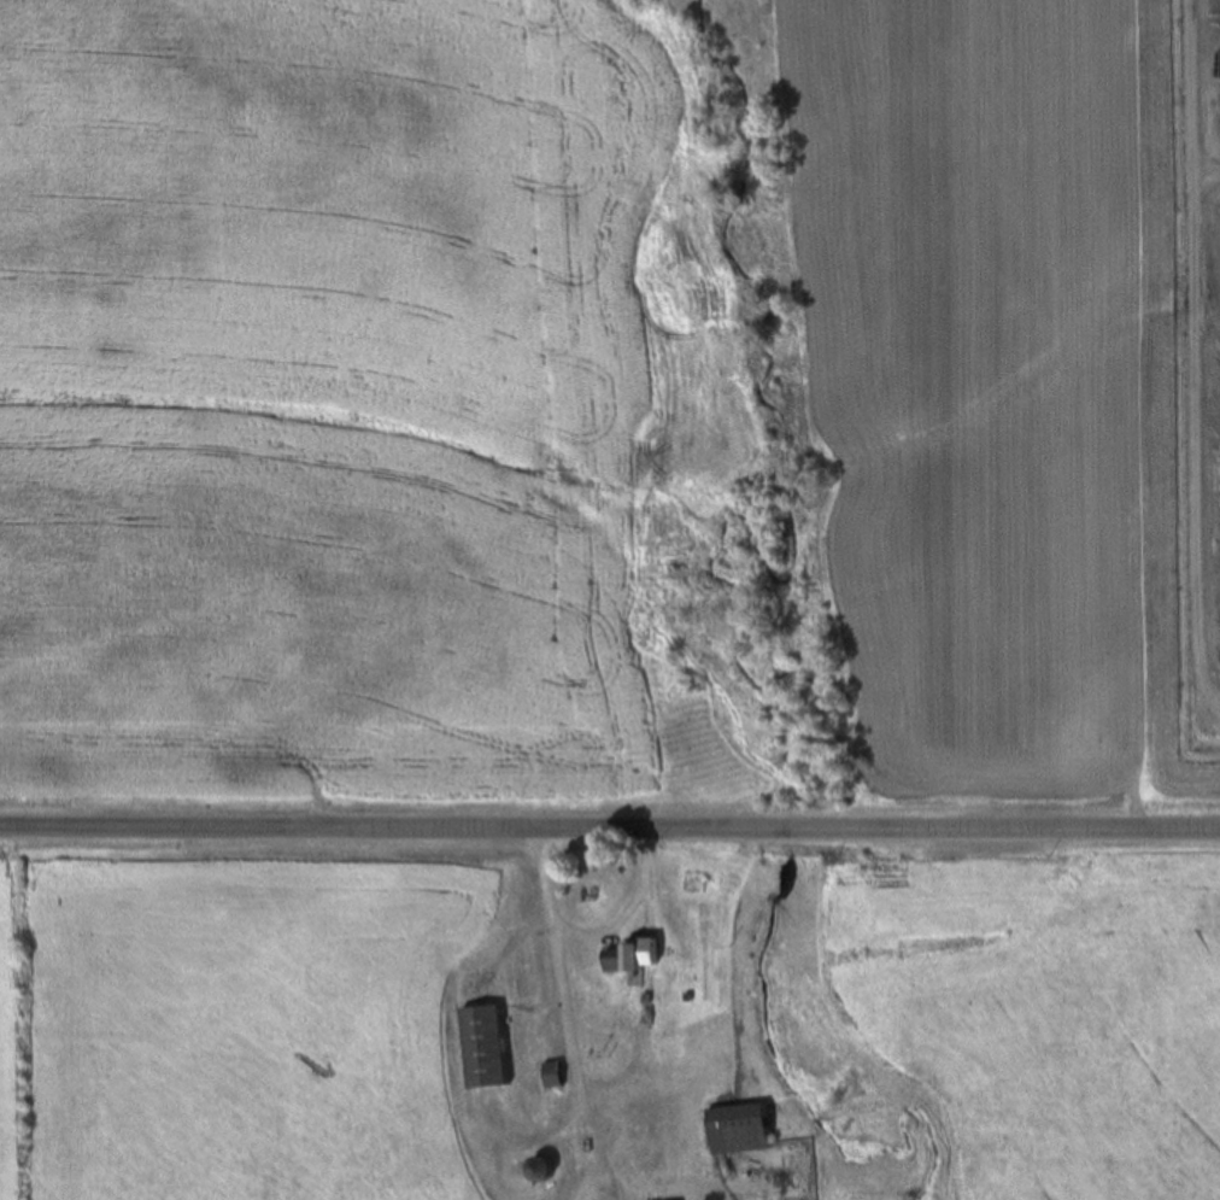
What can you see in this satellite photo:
road: (609, 835)
building: (624, 955)
building: (476, 1047)
building: (546, 1075)
building: (734, 1129)
building: (533, 1169)

